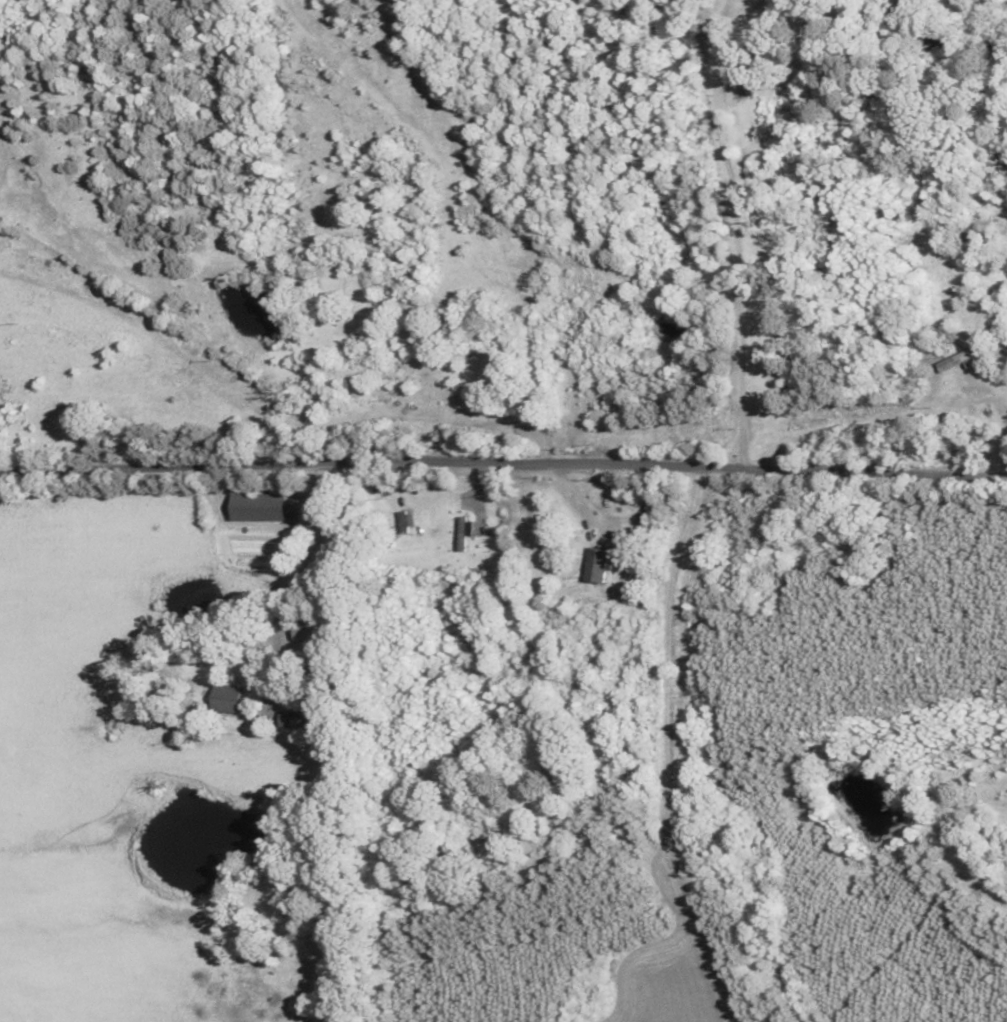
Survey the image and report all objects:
building: (960, 358)
road: (503, 461)
building: (255, 506)
building: (461, 533)
building: (594, 564)
building: (225, 697)
building: (292, 717)

